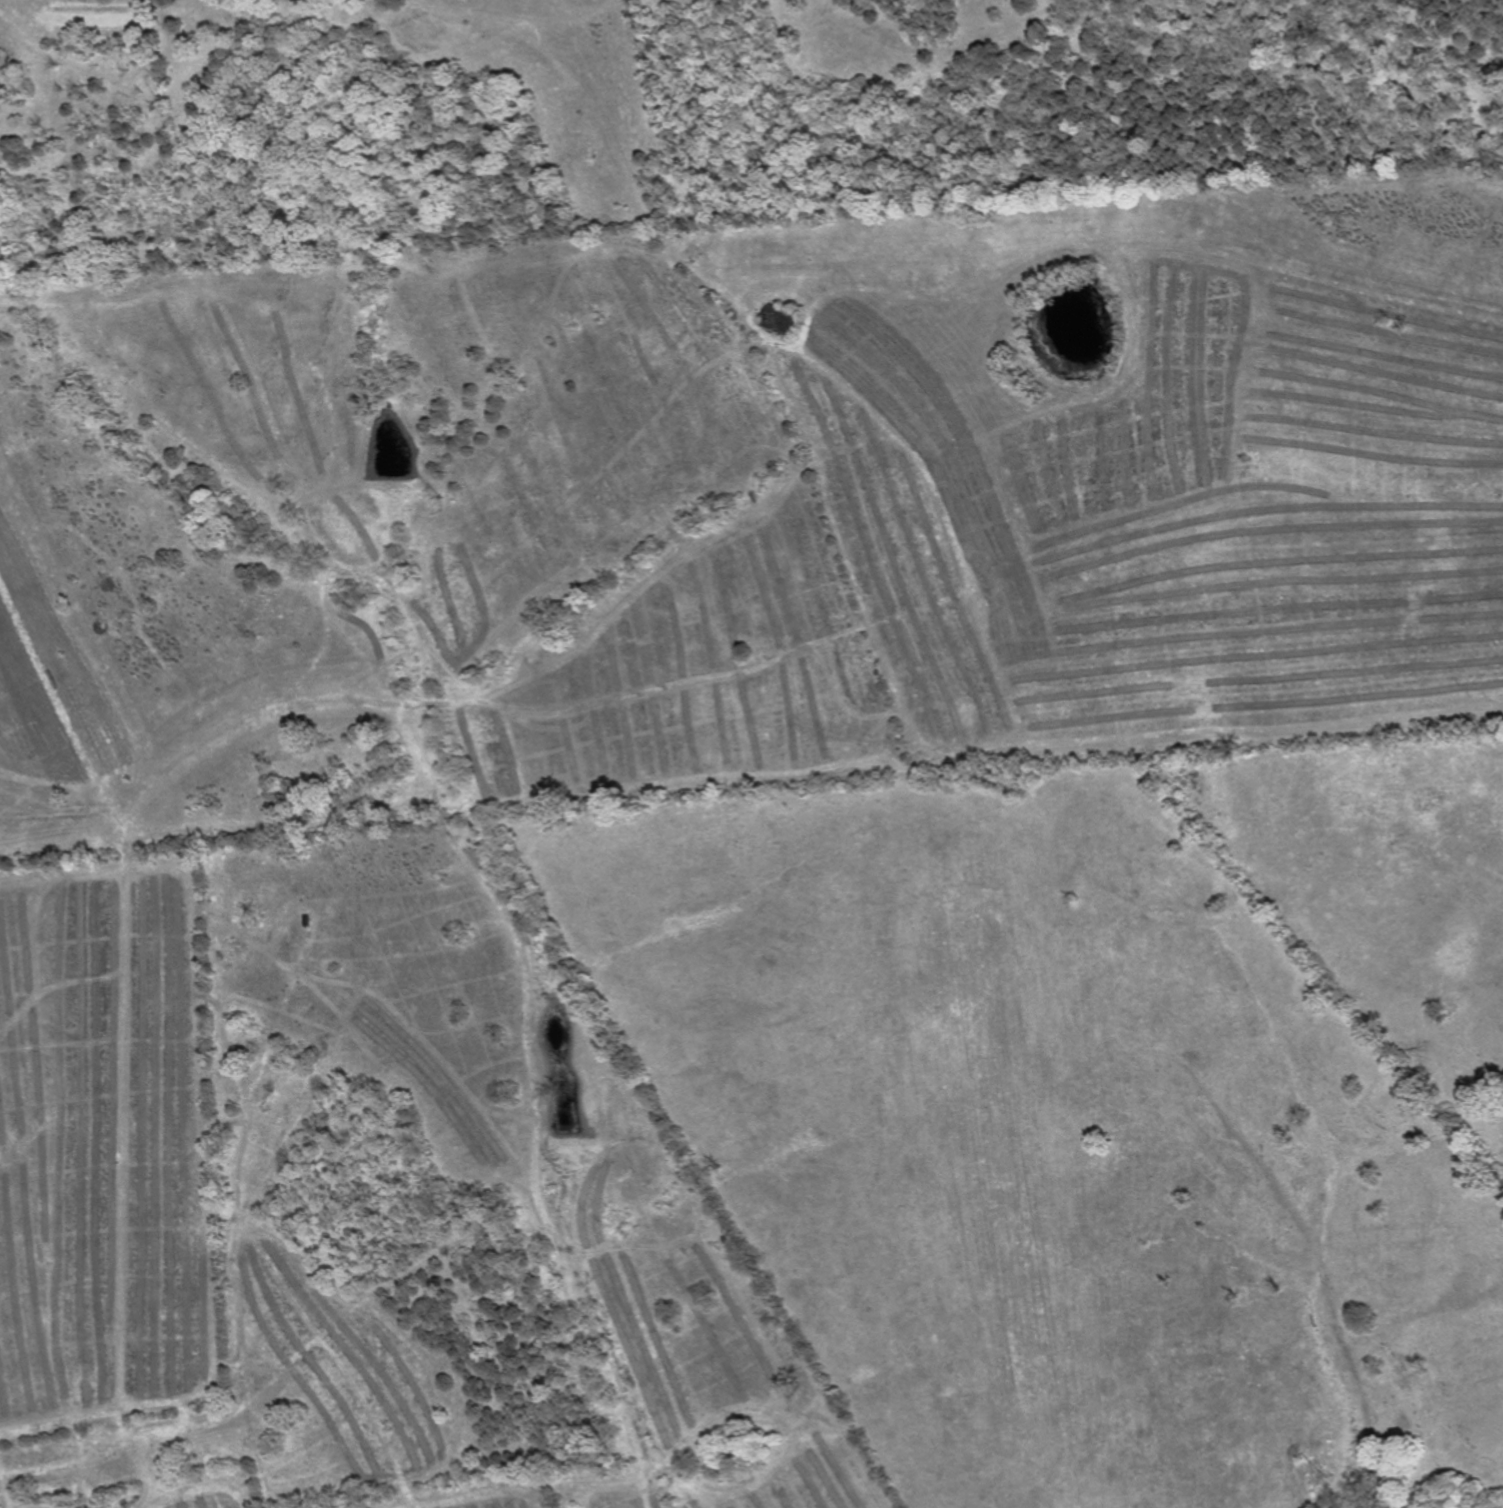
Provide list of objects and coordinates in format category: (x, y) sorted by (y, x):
road: (552, 122)

